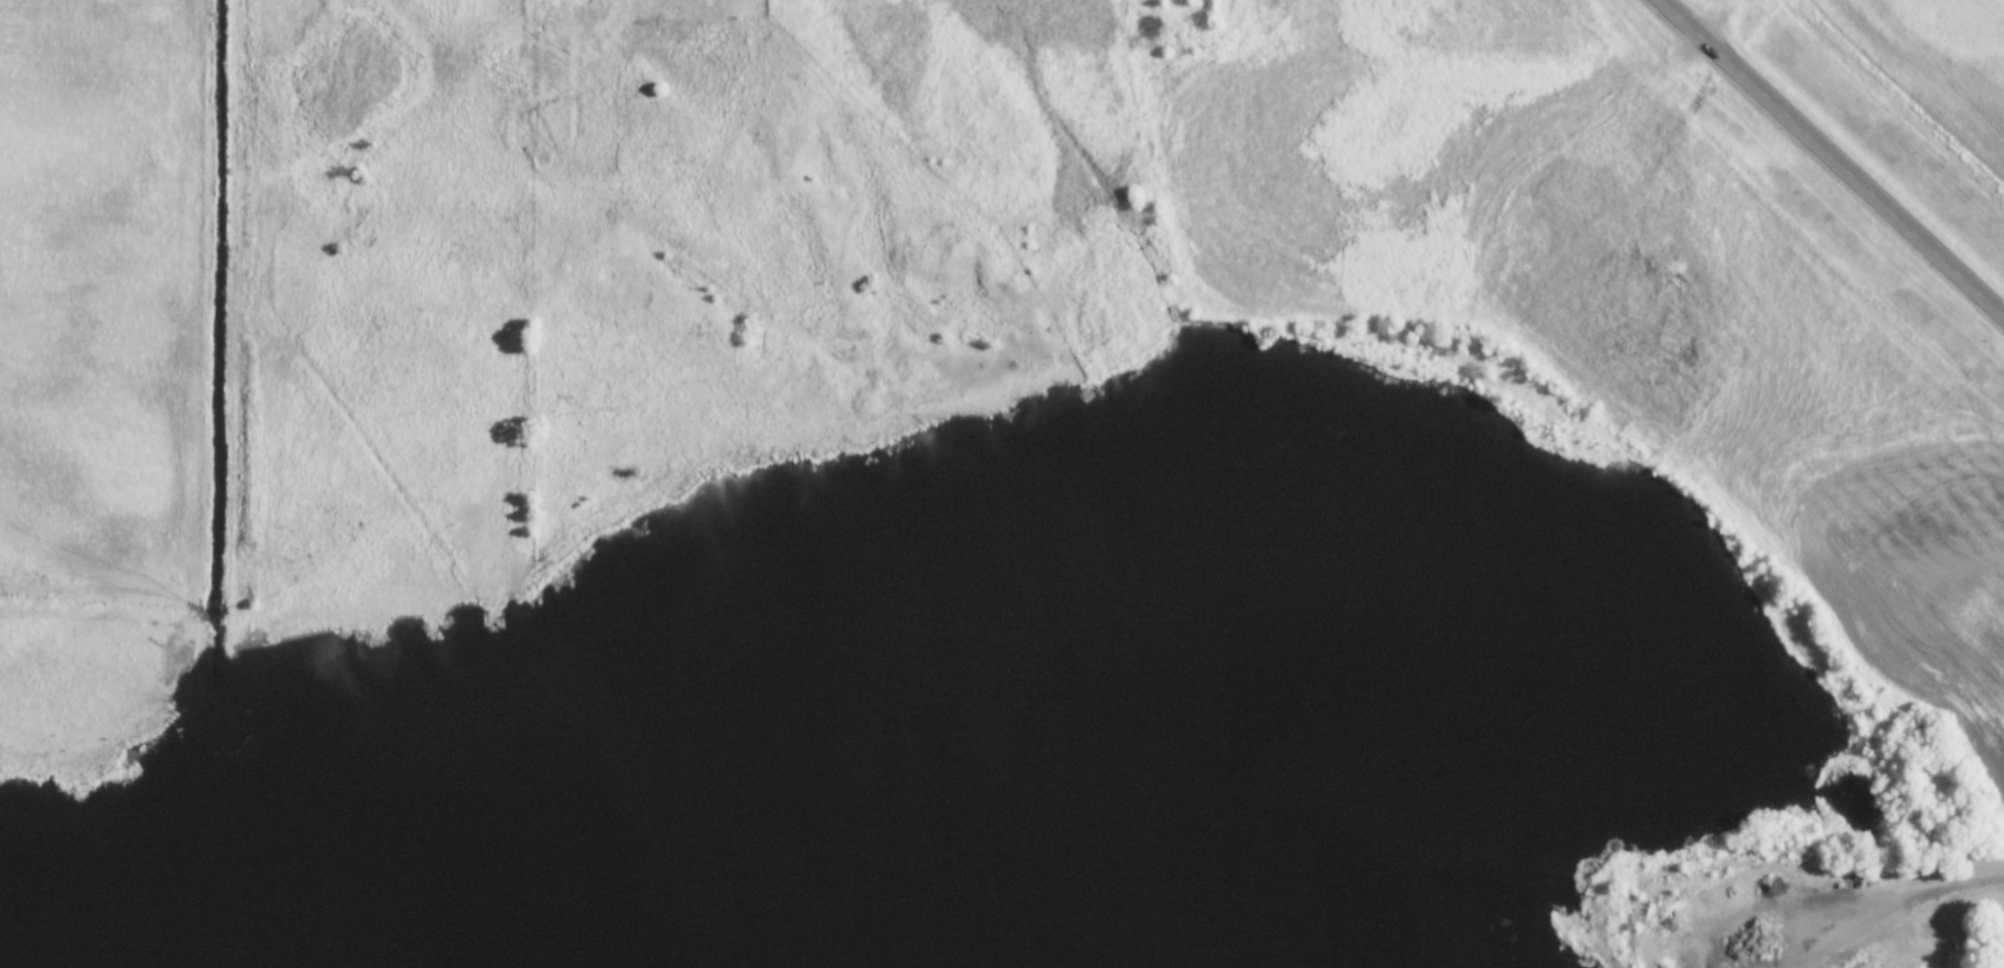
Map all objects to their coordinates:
road: (1834, 157)
road: (1966, 889)

